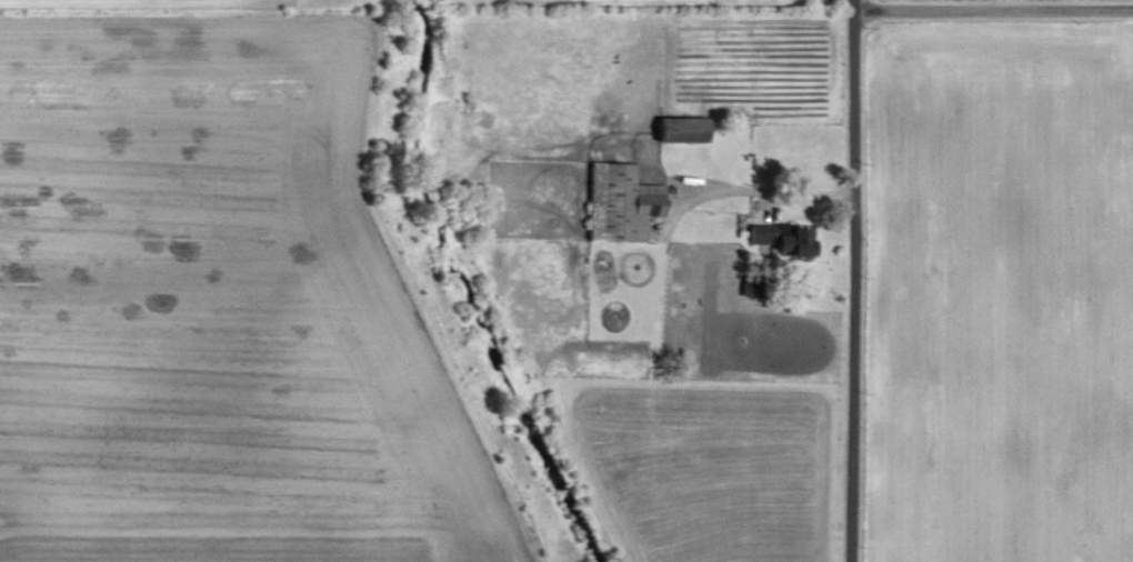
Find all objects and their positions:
road: (993, 10)
building: (683, 131)
road: (781, 191)
building: (621, 203)
building: (783, 239)
road: (854, 281)
building: (753, 285)

